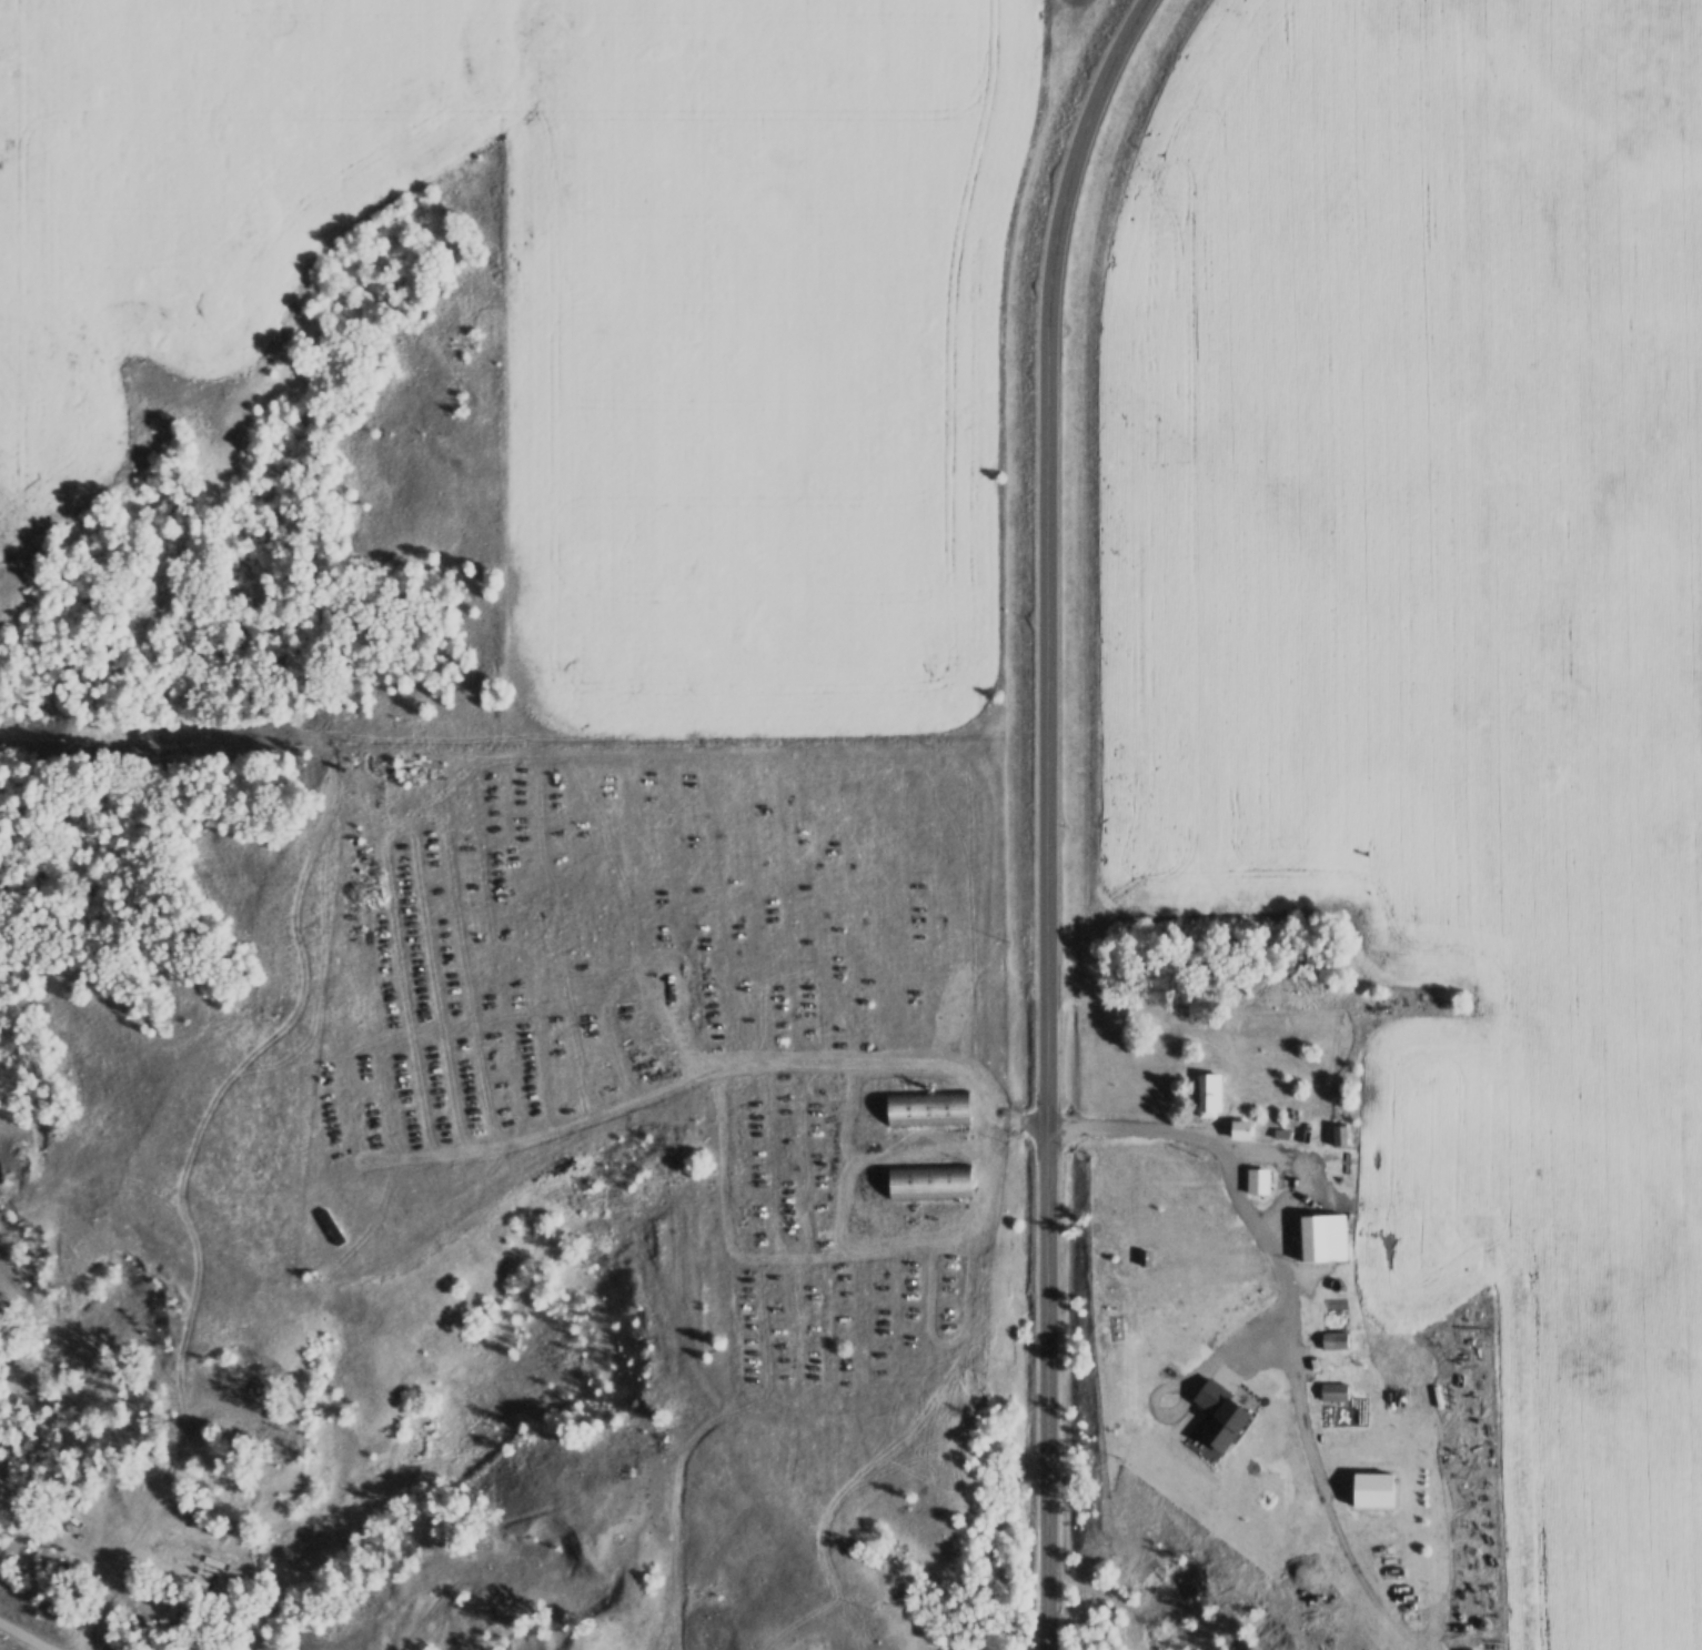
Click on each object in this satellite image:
road: (1048, 815)
building: (1208, 1095)
building: (926, 1109)
building: (1238, 1130)
building: (1337, 1136)
building: (1256, 1181)
building: (927, 1183)
building: (330, 1227)
building: (1321, 1238)
building: (1142, 1258)
building: (1332, 1394)
building: (1218, 1416)
building: (1370, 1490)

